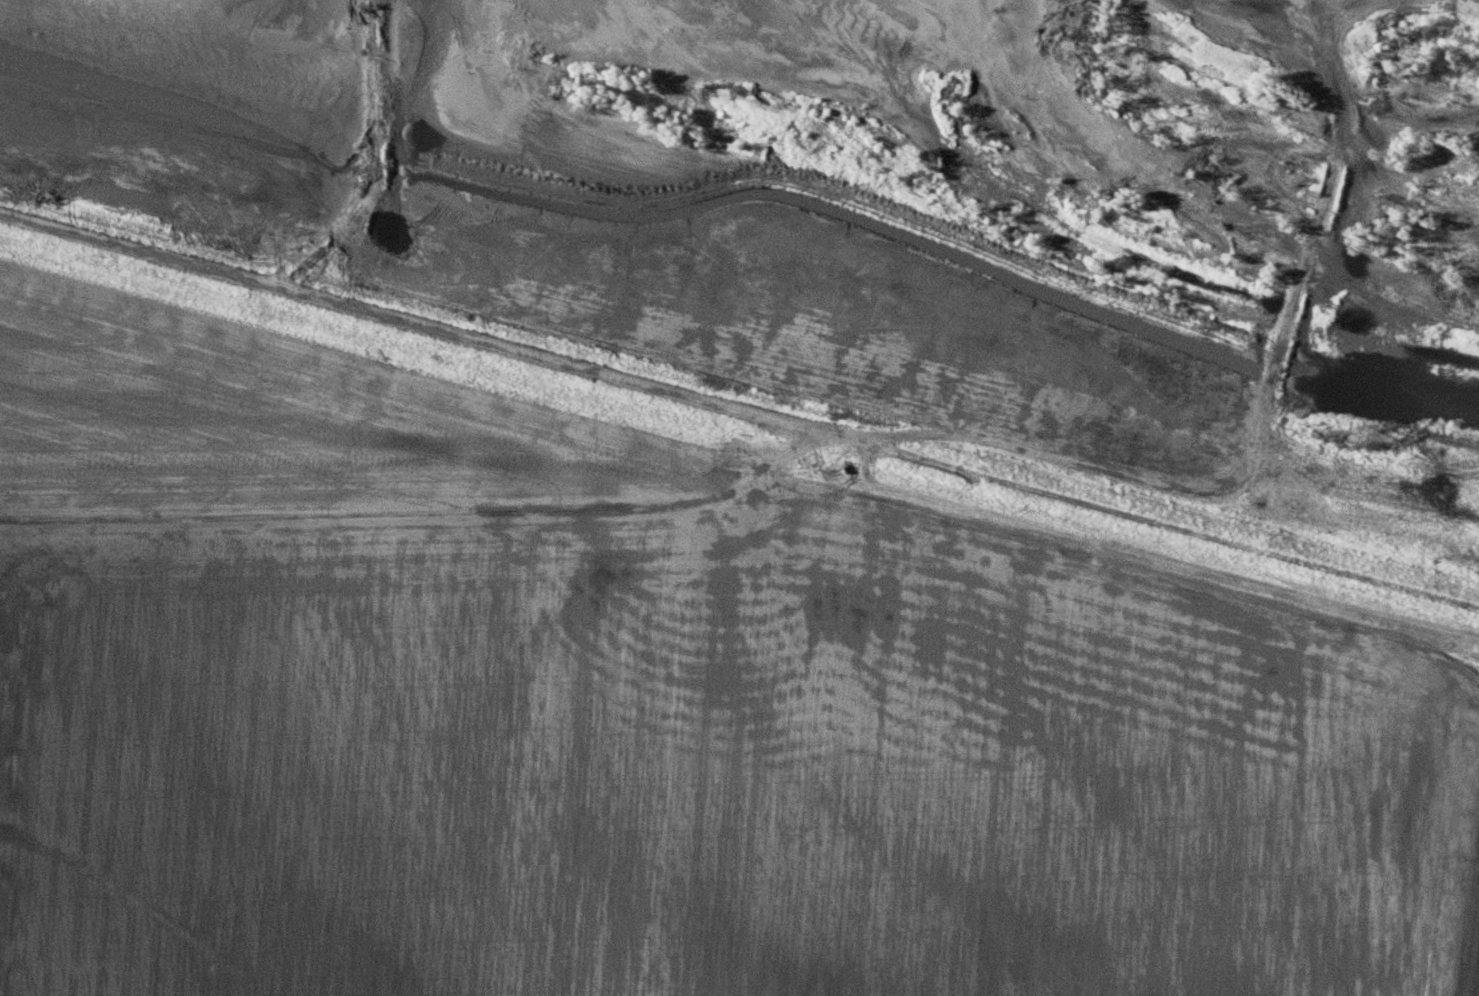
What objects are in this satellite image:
road: (981, 160)
road: (866, 406)
road: (753, 469)

